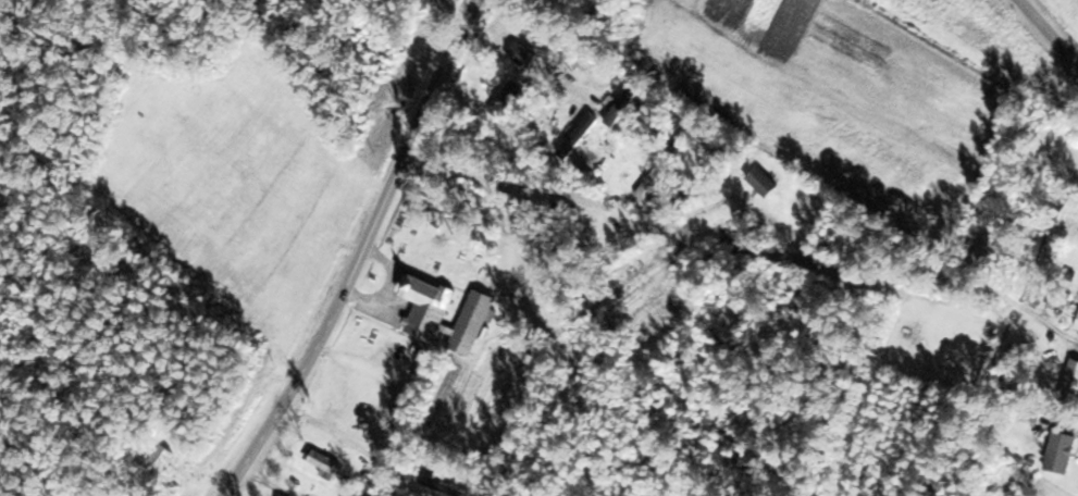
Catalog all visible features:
road: (1049, 32)
building: (767, 183)
road: (368, 252)
building: (447, 314)
building: (1074, 381)
building: (1064, 454)
building: (165, 457)
building: (327, 462)
building: (445, 487)

